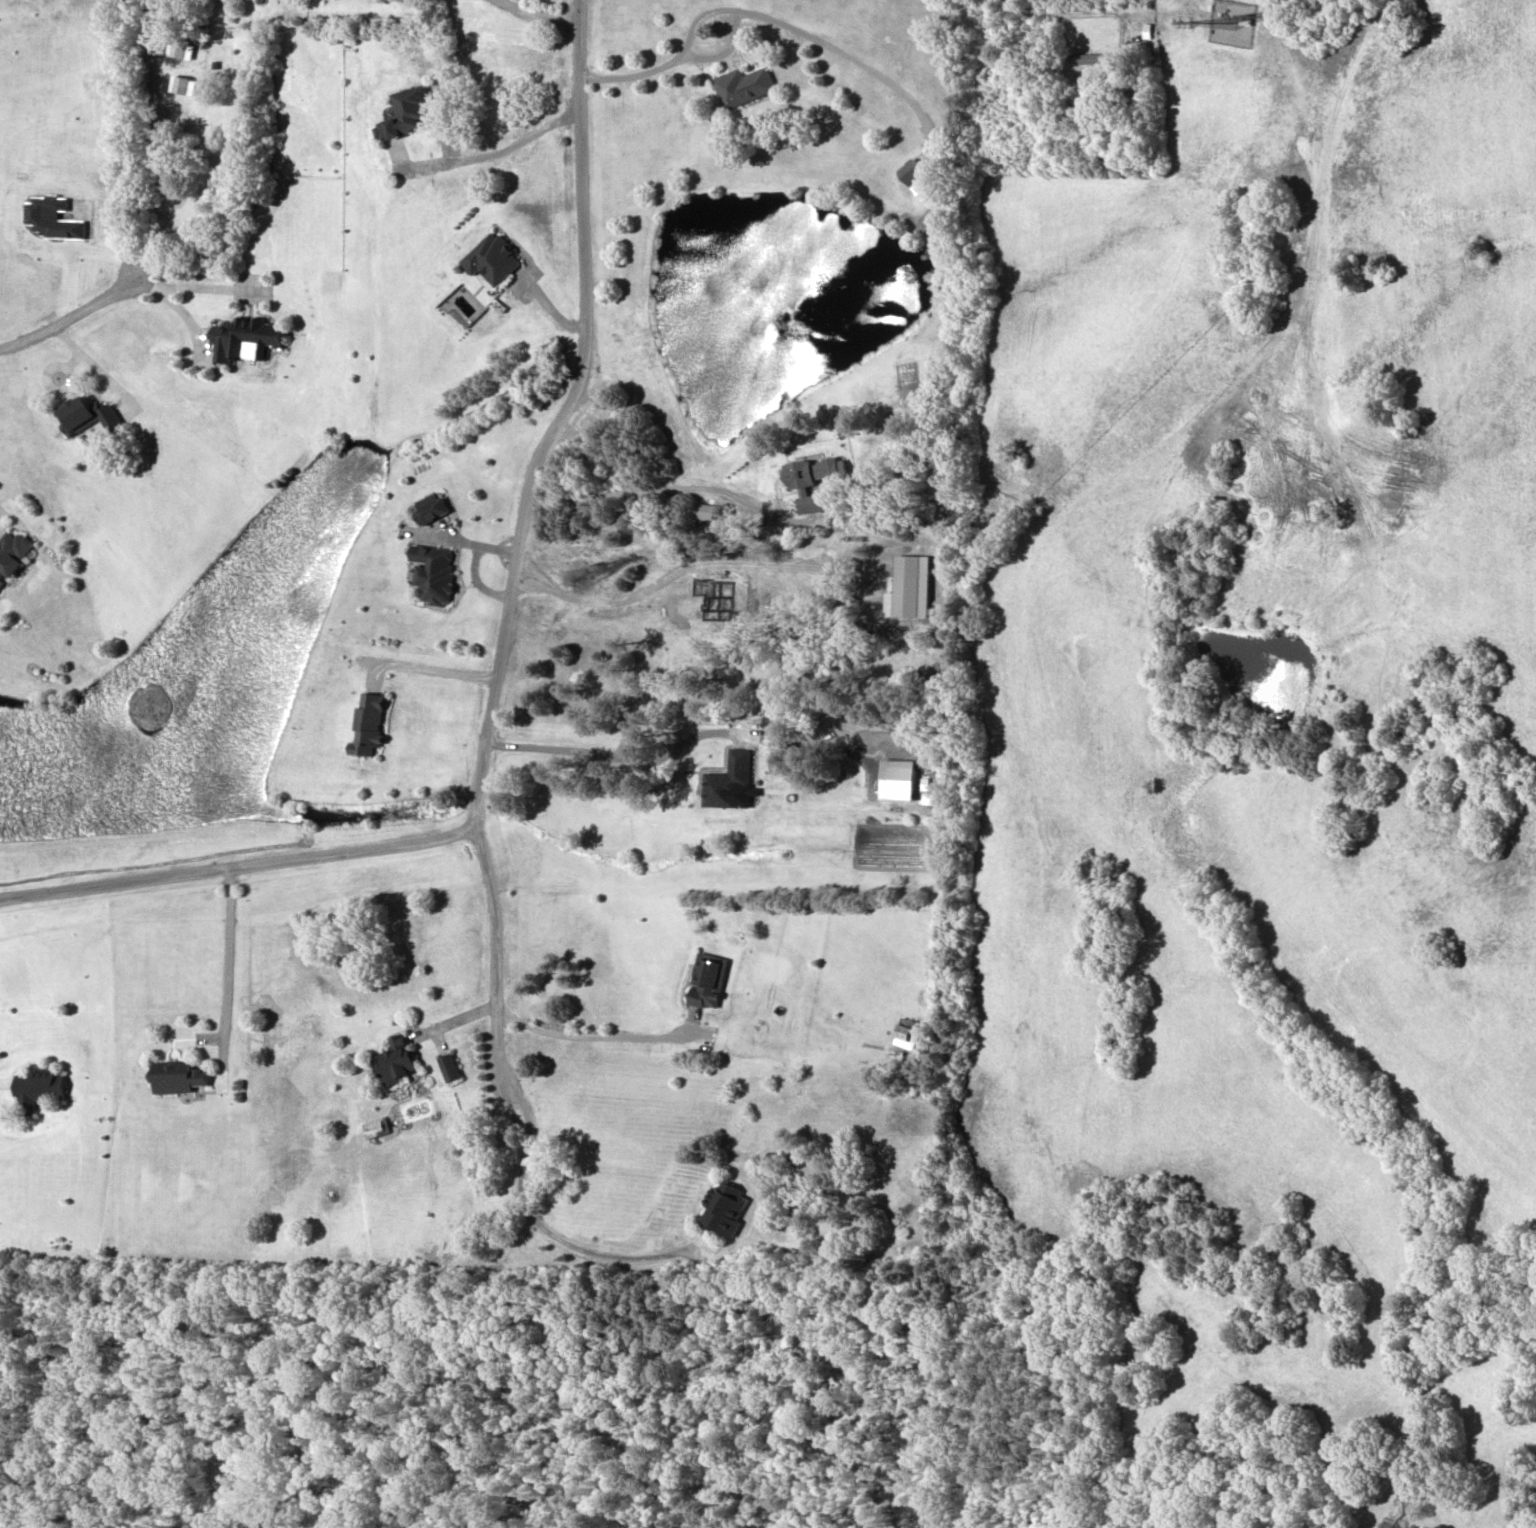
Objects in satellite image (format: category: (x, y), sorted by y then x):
building: (1090, 57)
building: (742, 84)
building: (402, 111)
building: (911, 171)
building: (491, 258)
building: (245, 337)
building: (86, 413)
building: (812, 478)
building: (11, 551)
road: (491, 701)
building: (368, 721)
building: (896, 777)
building: (728, 779)
road: (238, 865)
building: (706, 979)
building: (905, 1031)
building: (394, 1060)
building: (447, 1066)
building: (175, 1075)
building: (35, 1087)
building: (723, 1209)

